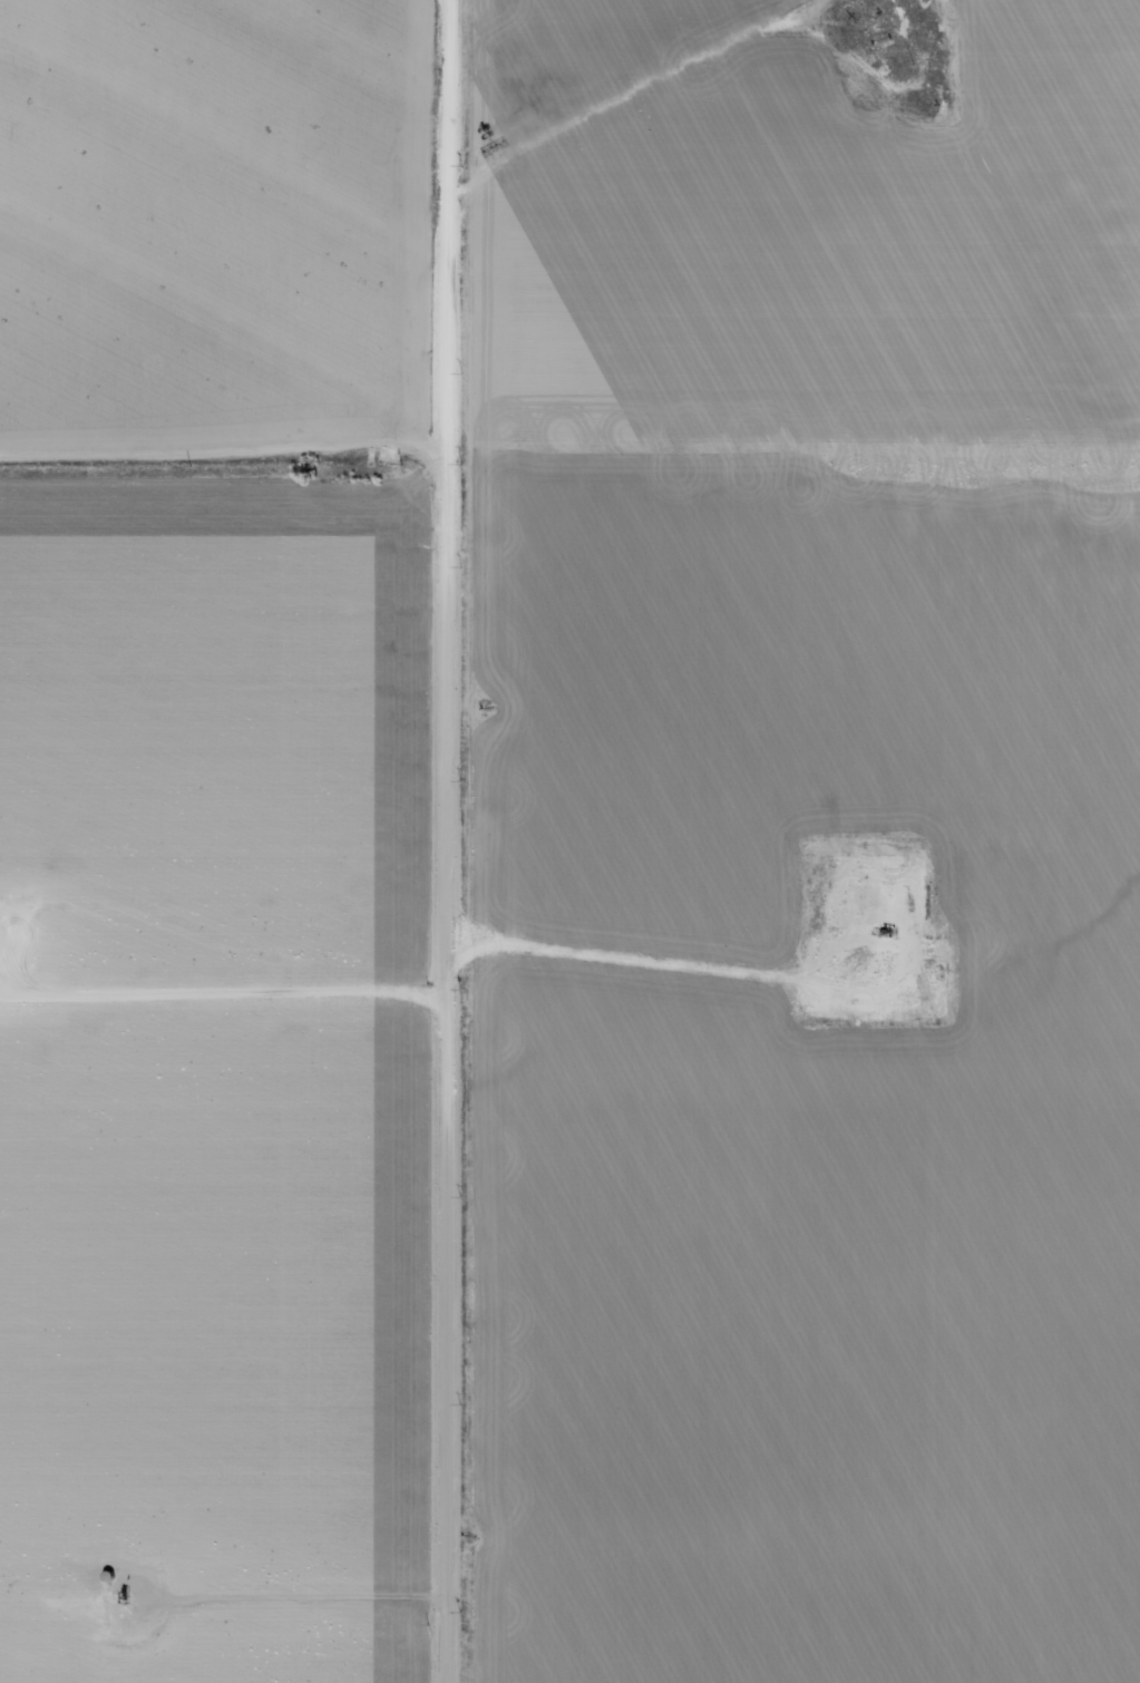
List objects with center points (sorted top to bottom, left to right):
road: (442, 841)
road: (221, 986)

